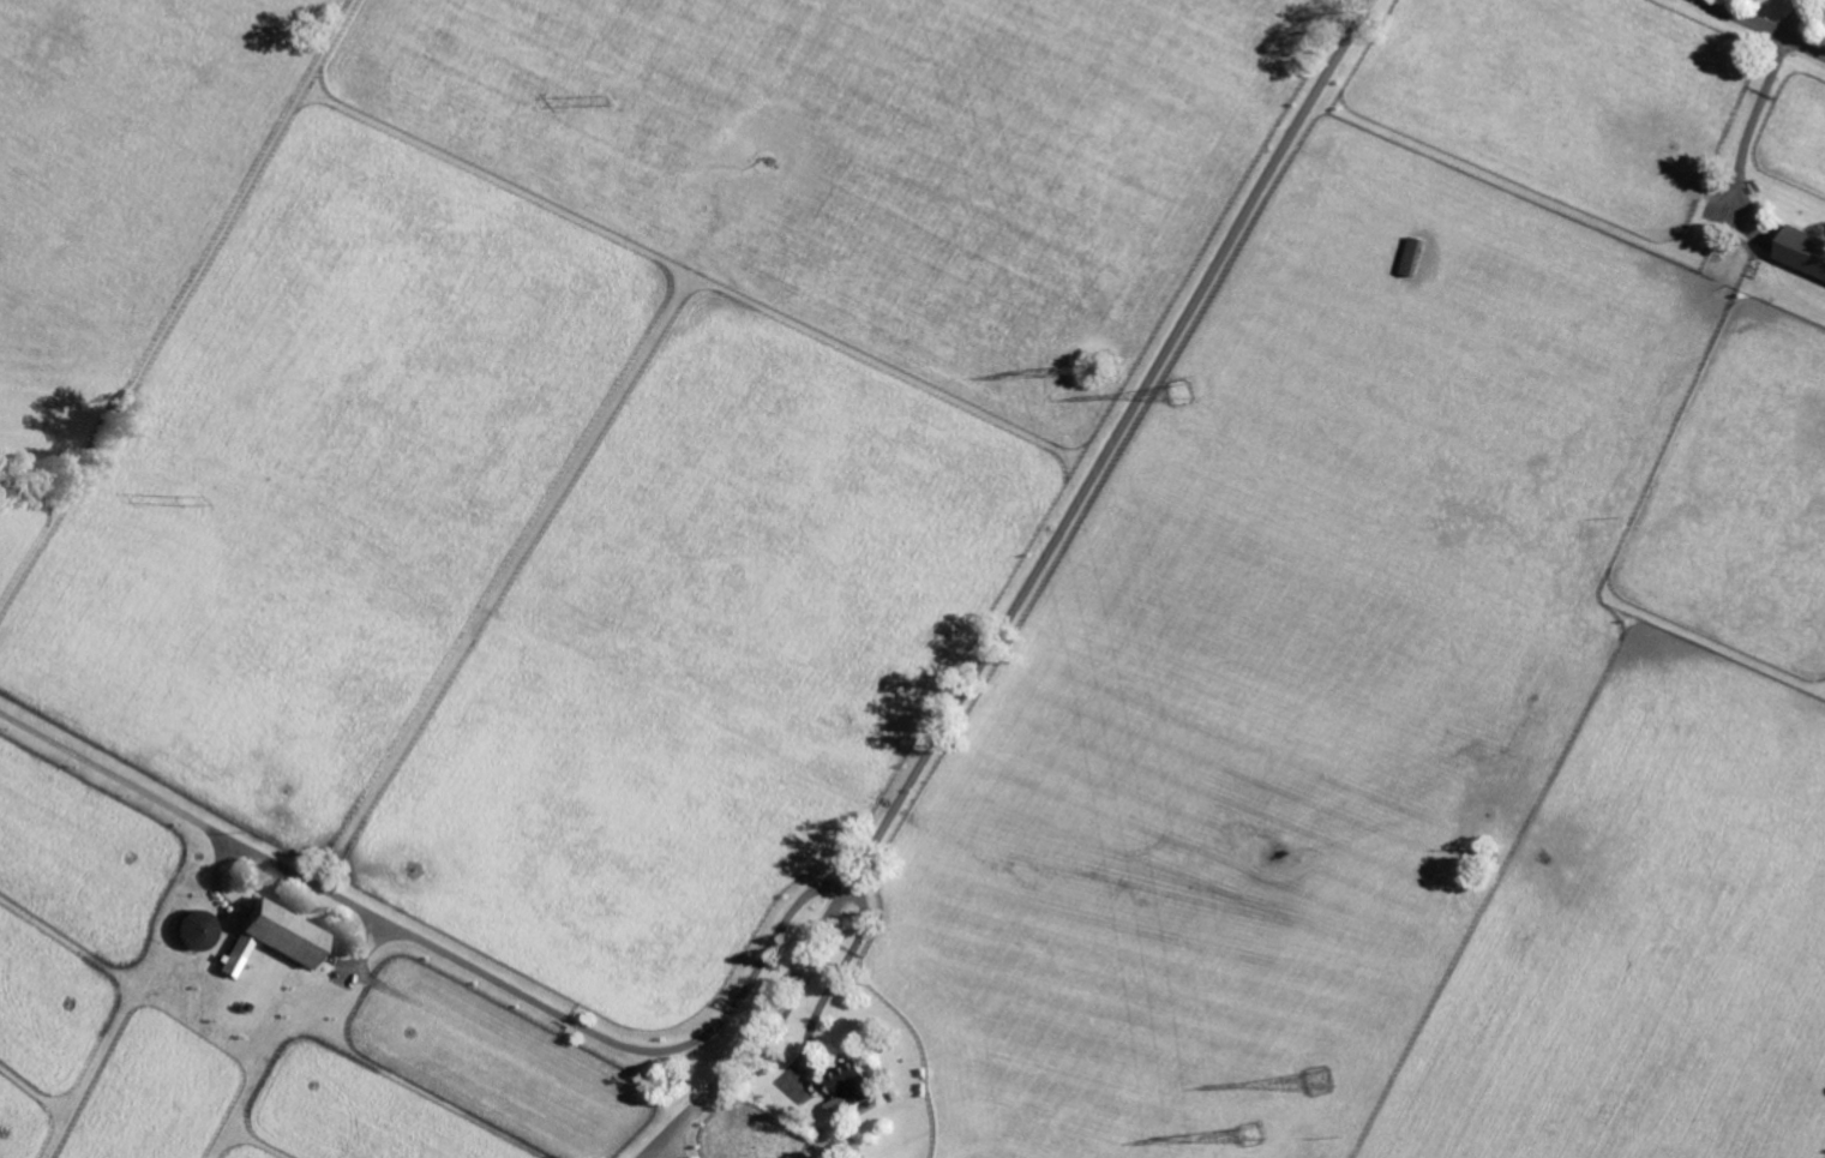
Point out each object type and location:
road: (1797, 18)
road: (1766, 26)
power tower: (611, 100)
road: (1748, 133)
building: (1800, 251)
power tower: (1101, 373)
power tower: (1185, 392)
power tower: (175, 503)
road: (1026, 592)
road: (200, 822)
building: (280, 936)
road: (619, 1044)
power tower: (1322, 1079)
building: (856, 1086)
road: (665, 1150)
power tower: (1259, 1150)

